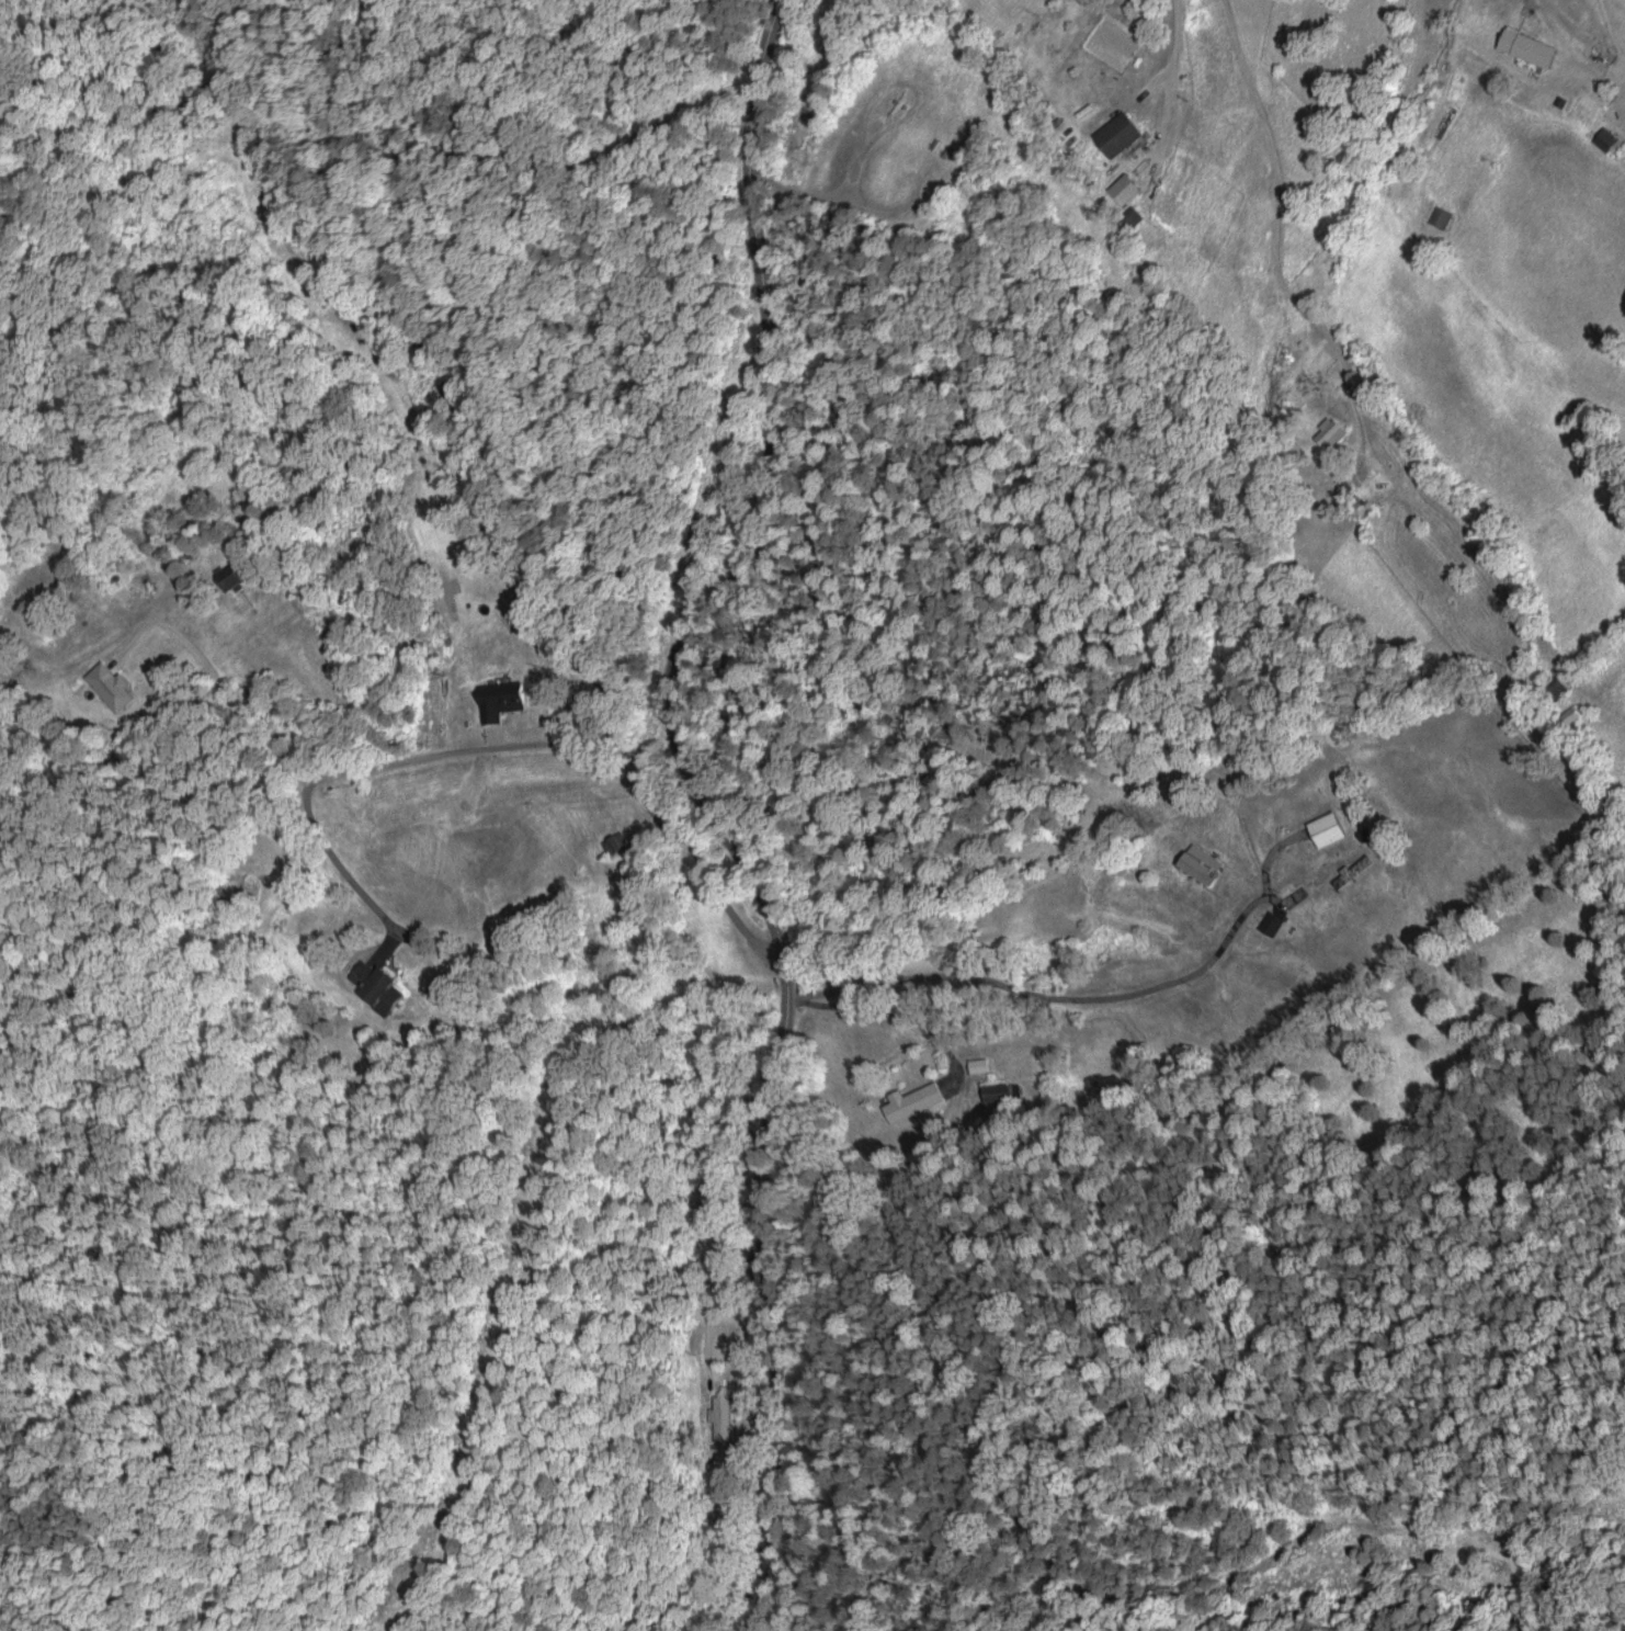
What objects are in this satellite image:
road: (1531, 2)
building: (1526, 47)
road: (1167, 73)
building: (1117, 134)
road: (849, 200)
building: (1329, 433)
building: (230, 575)
building: (110, 686)
building: (1557, 687)
building: (500, 699)
road: (228, 703)
building: (1569, 714)
road: (505, 745)
road: (708, 804)
building: (1326, 828)
building: (1200, 863)
building: (1271, 922)
building: (376, 986)
road: (1045, 994)
building: (977, 1065)
building: (997, 1092)
building: (911, 1100)
building: (721, 1411)
building: (724, 1432)

